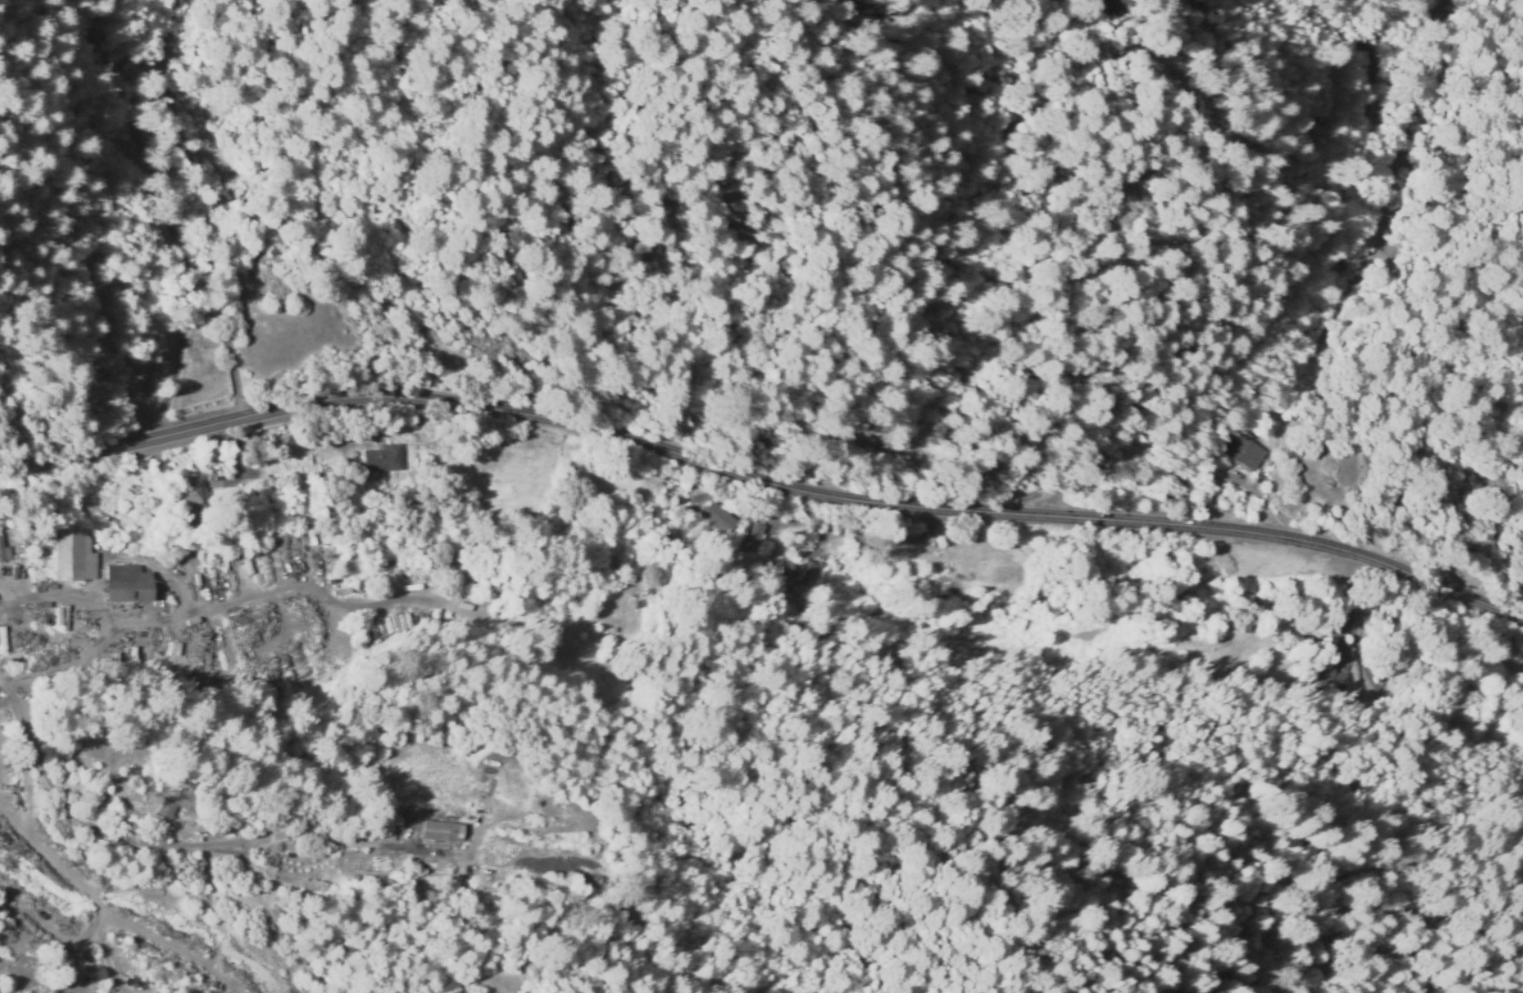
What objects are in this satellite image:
building: (1107, 8)
building: (105, 36)
road: (235, 115)
road: (1471, 236)
road: (744, 238)
building: (156, 389)
building: (1281, 423)
building: (1247, 451)
building: (384, 460)
road: (761, 484)
building: (207, 490)
building: (190, 494)
road: (1485, 514)
building: (721, 520)
building: (756, 537)
building: (26, 544)
building: (3, 554)
building: (42, 559)
building: (76, 559)
building: (796, 575)
building: (128, 585)
road: (32, 598)
building: (644, 604)
building: (44, 606)
building: (1249, 630)
road: (72, 651)
building: (1334, 680)
building: (184, 802)
building: (158, 809)
building: (443, 829)
road: (166, 850)

